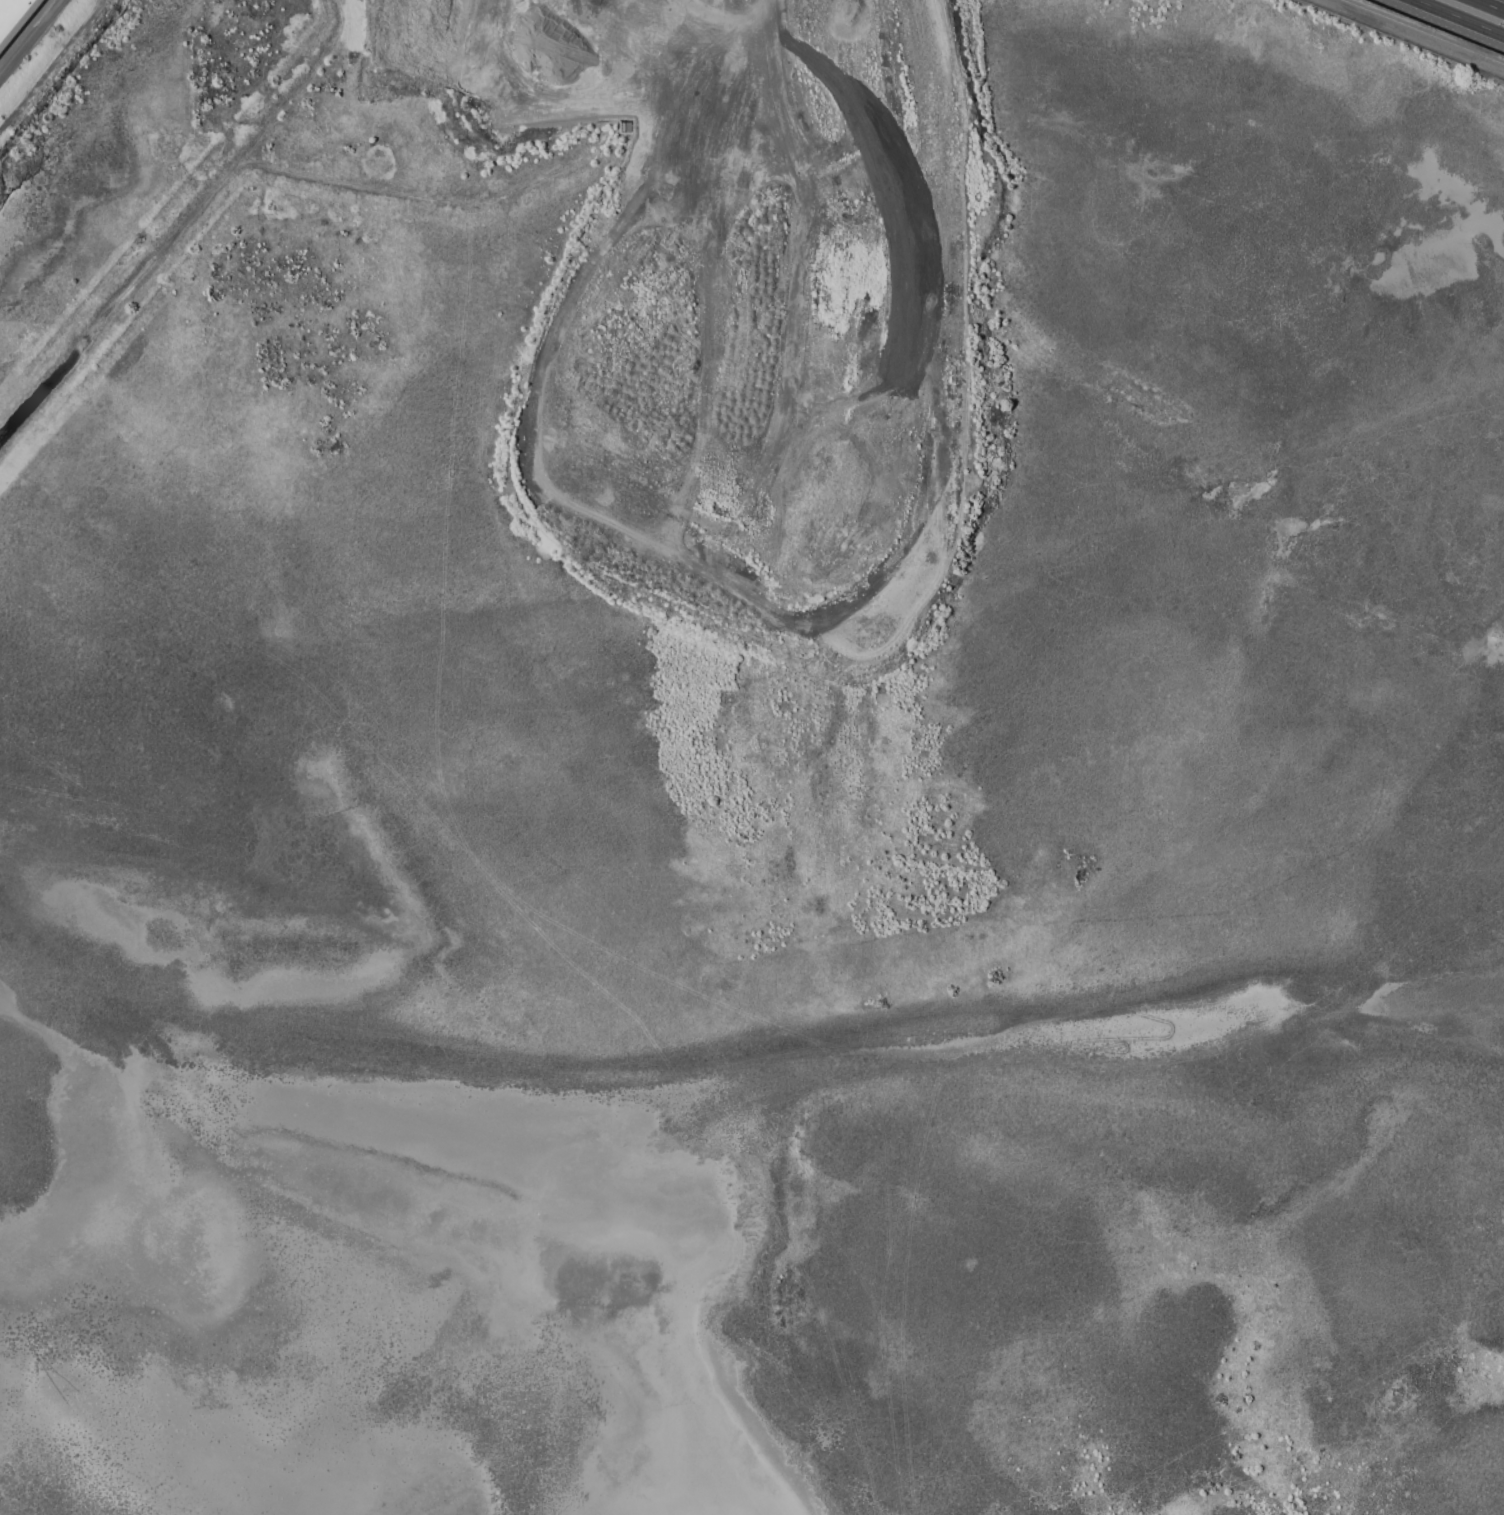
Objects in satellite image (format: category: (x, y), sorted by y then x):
road: (1490, 5)
park: (6, 7)
road: (1455, 19)
road: (1441, 25)
airport: (752, 757)

